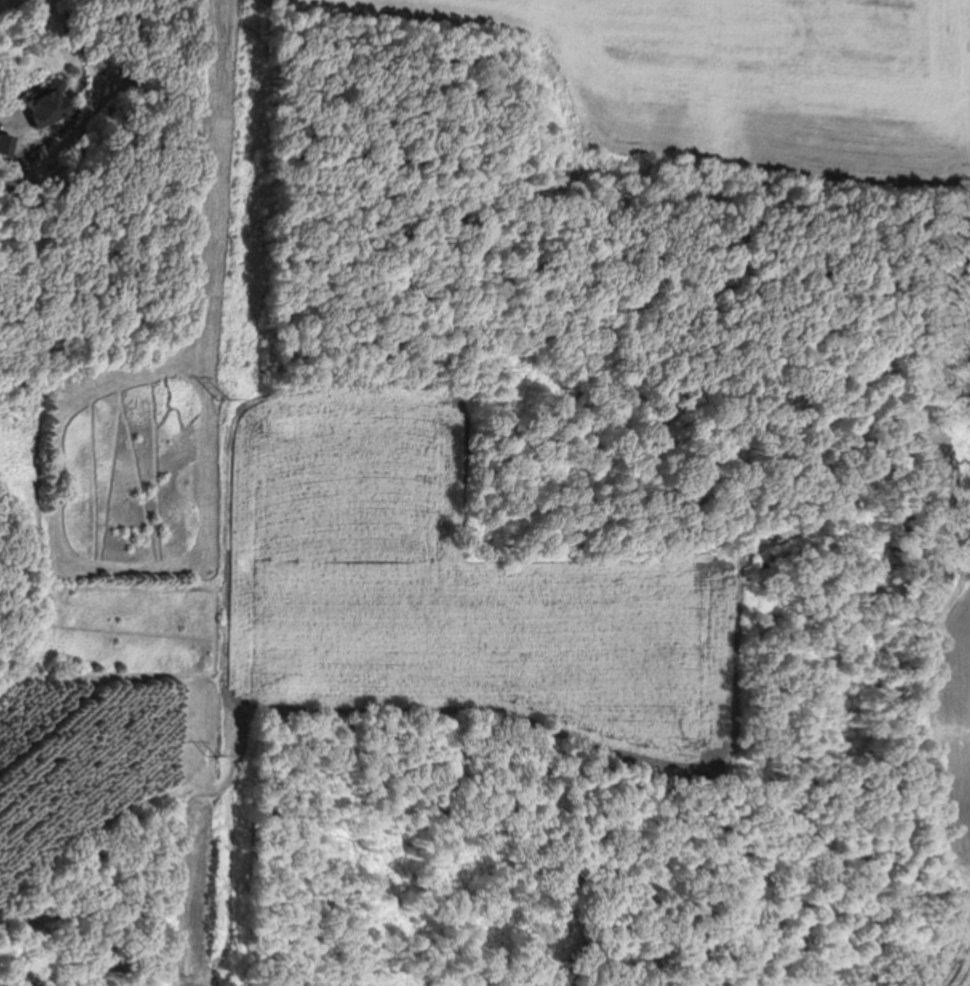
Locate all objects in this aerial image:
road: (4, 83)
power tower: (222, 398)
power tower: (212, 754)

